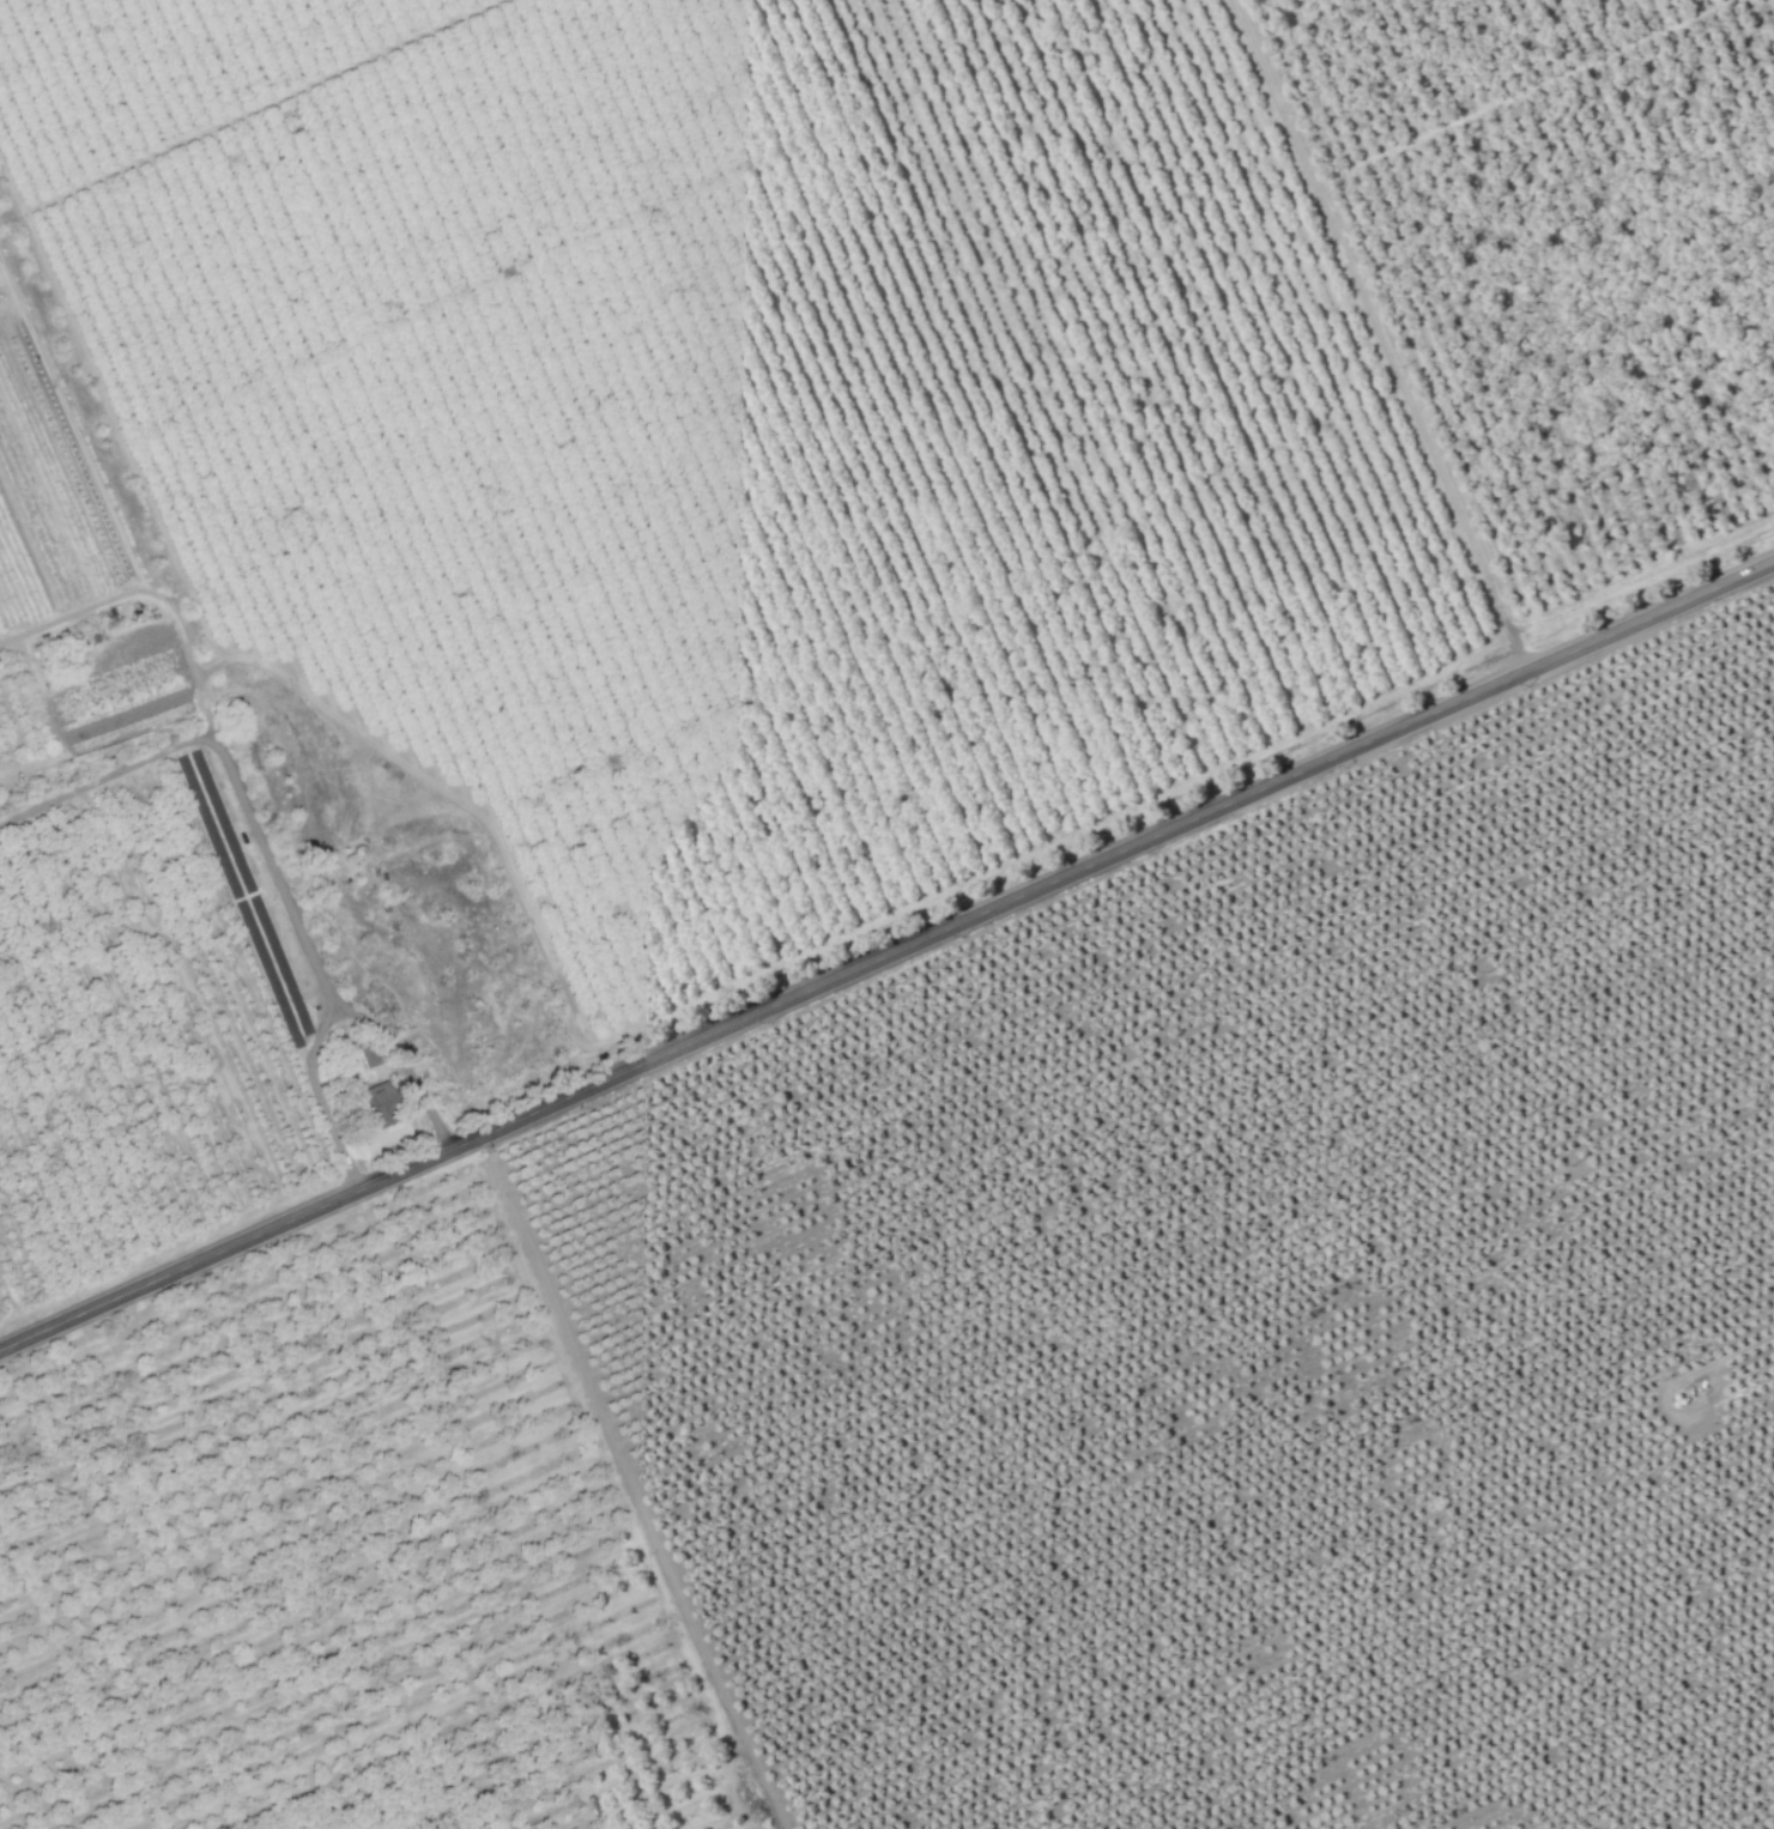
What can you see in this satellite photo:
road: (1379, 339)
road: (72, 429)
road: (152, 598)
road: (268, 853)
road: (885, 959)
road: (317, 1096)
building: (369, 1104)

